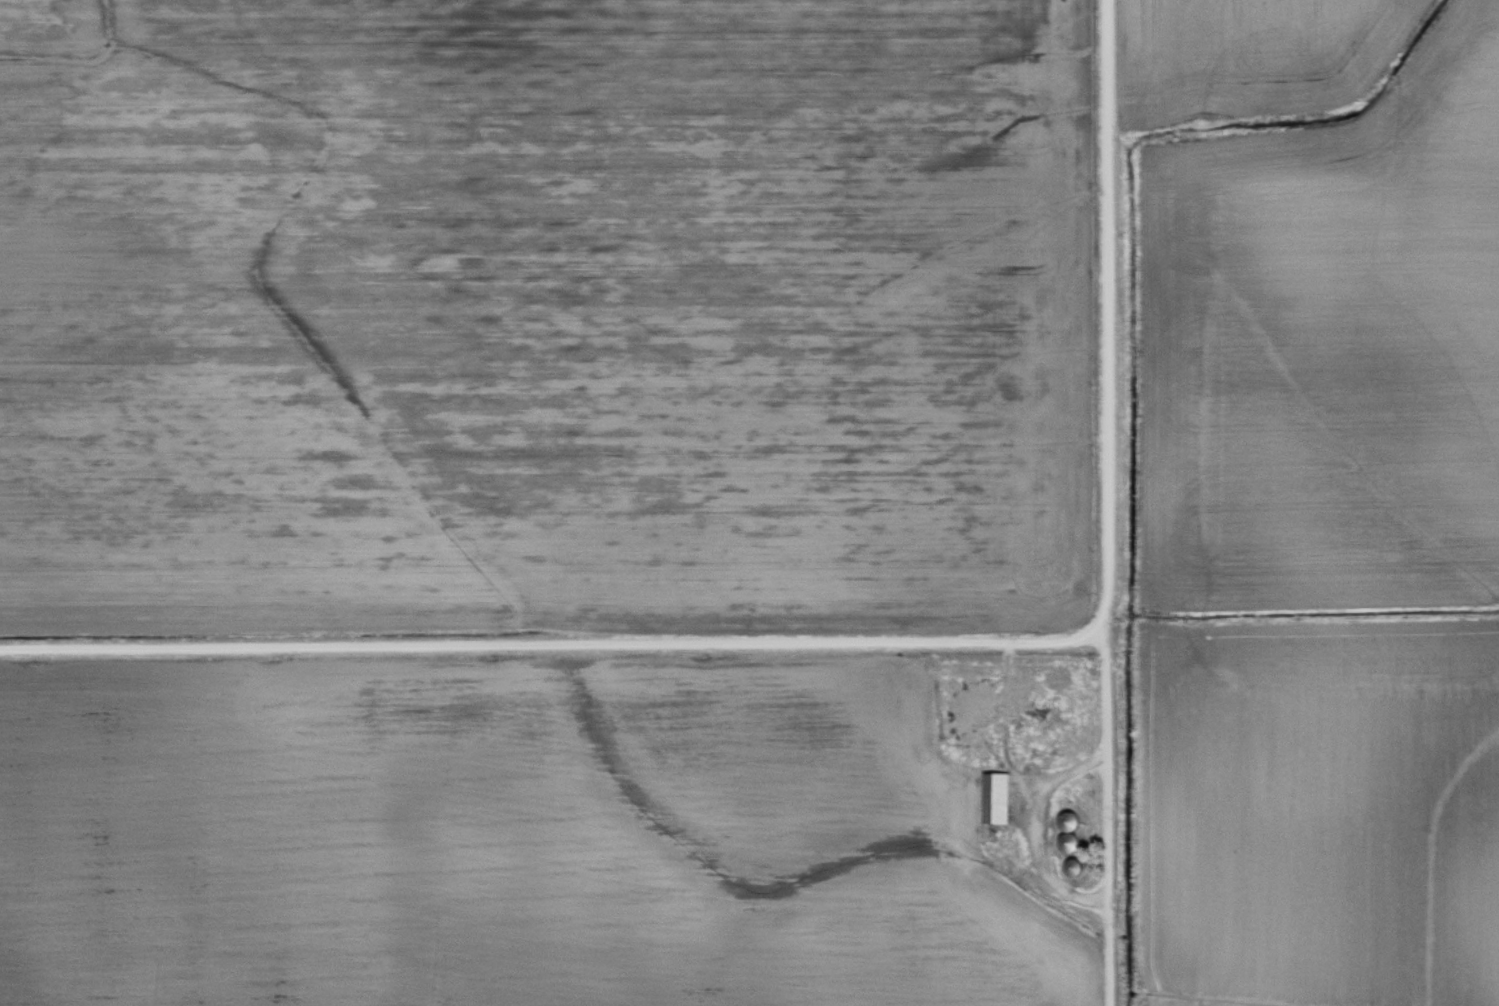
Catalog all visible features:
road: (1059, 505)
road: (521, 611)
building: (979, 711)
building: (999, 799)
building: (1072, 832)
building: (1077, 868)

